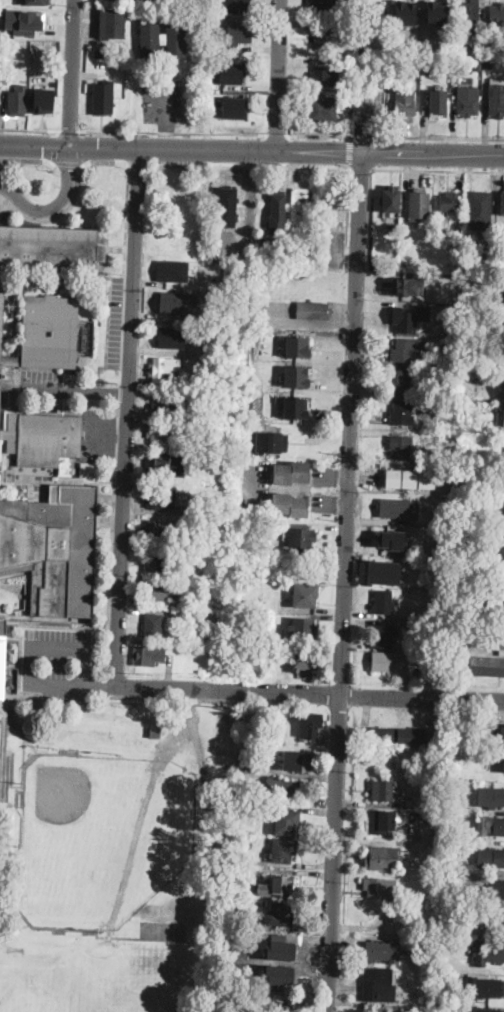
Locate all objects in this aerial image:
building: (36, 2)
building: (238, 6)
building: (319, 6)
building: (375, 6)
building: (405, 11)
building: (437, 12)
building: (497, 13)
building: (470, 17)
building: (22, 21)
building: (112, 23)
building: (347, 24)
building: (238, 32)
building: (323, 38)
building: (162, 39)
building: (436, 40)
building: (477, 48)
building: (395, 64)
building: (489, 65)
road: (72, 72)
road: (279, 73)
building: (232, 74)
building: (327, 76)
building: (102, 97)
building: (496, 97)
building: (17, 99)
building: (42, 99)
road: (164, 101)
building: (469, 101)
building: (350, 102)
building: (374, 102)
building: (406, 103)
building: (437, 104)
building: (234, 106)
building: (323, 110)
road: (29, 131)
road: (69, 132)
road: (174, 133)
road: (166, 134)
road: (279, 135)
road: (320, 136)
road: (427, 138)
road: (34, 143)
traffic signals: (69, 144)
road: (56, 146)
road: (215, 147)
road: (80, 148)
road: (433, 151)
road: (350, 153)
road: (28, 159)
road: (67, 162)
road: (82, 164)
road: (138, 165)
road: (250, 166)
road: (361, 169)
road: (438, 171)
road: (127, 196)
road: (250, 198)
building: (450, 202)
building: (503, 203)
road: (54, 205)
building: (388, 205)
building: (299, 206)
building: (420, 206)
building: (227, 207)
building: (481, 209)
building: (333, 210)
building: (277, 213)
road: (54, 216)
building: (50, 246)
building: (174, 271)
building: (403, 288)
building: (467, 292)
building: (182, 308)
building: (313, 310)
building: (412, 319)
parking lot: (114, 322)
building: (213, 329)
building: (44, 332)
building: (172, 338)
building: (297, 345)
building: (408, 350)
building: (448, 362)
building: (164, 368)
building: (295, 375)
building: (403, 382)
road: (73, 389)
building: (165, 406)
building: (294, 407)
building: (402, 414)
road: (127, 415)
building: (503, 423)
building: (161, 431)
building: (198, 431)
building: (45, 437)
building: (428, 438)
building: (272, 443)
building: (400, 447)
building: (250, 449)
building: (157, 464)
building: (291, 471)
building: (411, 479)
building: (492, 487)
building: (162, 498)
building: (290, 504)
building: (393, 508)
building: (226, 515)
building: (154, 532)
building: (302, 538)
building: (391, 539)
building: (459, 540)
building: (52, 546)
building: (502, 547)
building: (157, 562)
road: (111, 566)
building: (378, 571)
road: (344, 580)
building: (165, 593)
building: (306, 596)
building: (384, 603)
building: (499, 610)
building: (154, 625)
building: (186, 625)
building: (303, 628)
building: (383, 636)
building: (501, 637)
building: (501, 646)
building: (0, 653)
building: (421, 655)
building: (146, 657)
road: (28, 658)
building: (305, 661)
building: (393, 662)
parking lot: (58, 664)
building: (487, 666)
road: (18, 669)
road: (104, 684)
road: (310, 691)
road: (6, 712)
building: (242, 719)
building: (311, 724)
building: (156, 733)
building: (503, 733)
building: (398, 735)
road: (28, 740)
road: (22, 750)
road: (6, 761)
building: (246, 761)
building: (297, 761)
building: (503, 765)
building: (240, 784)
building: (282, 790)
building: (384, 790)
building: (436, 796)
building: (491, 797)
road: (206, 805)
building: (435, 817)
building: (287, 822)
building: (383, 822)
building: (490, 826)
park: (102, 835)
building: (284, 851)
building: (491, 858)
building: (383, 859)
building: (278, 887)
building: (381, 888)
building: (498, 888)
building: (280, 915)
building: (253, 922)
building: (497, 923)
road: (37, 927)
parking lot: (162, 928)
building: (461, 930)
building: (281, 949)
building: (383, 951)
building: (488, 953)
building: (277, 976)
park: (35, 982)
building: (379, 985)
building: (482, 988)
building: (283, 1008)
building: (481, 1009)
building: (408, 1011)

